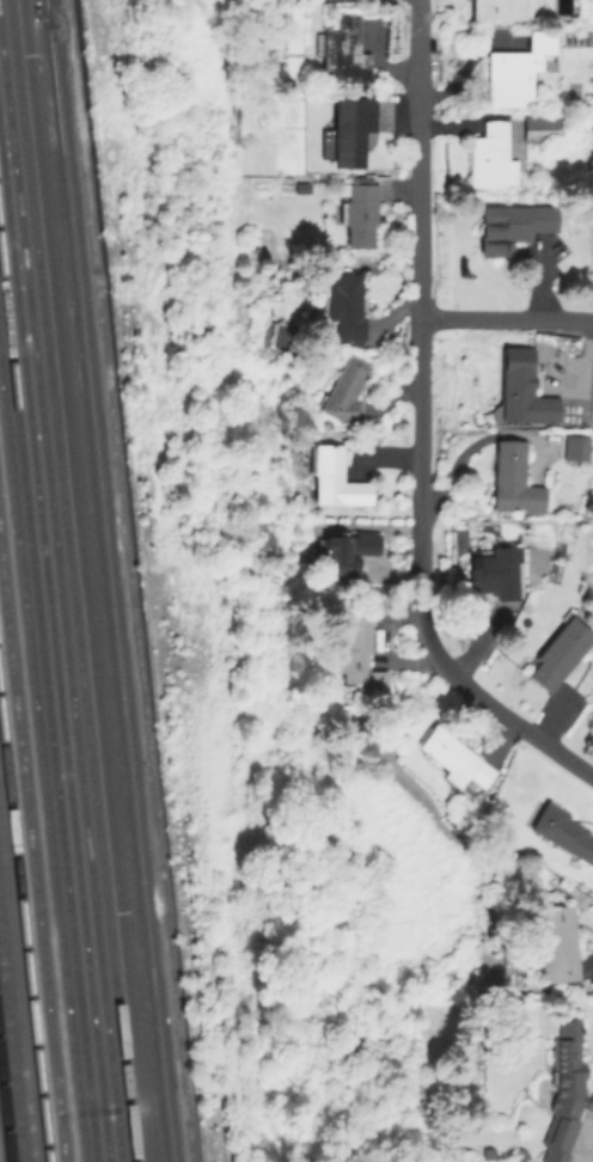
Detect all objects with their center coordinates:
building: (496, 8)
railway: (49, 12)
building: (341, 51)
building: (514, 69)
building: (540, 127)
building: (347, 129)
building: (489, 155)
building: (356, 212)
building: (511, 224)
building: (343, 304)
road: (506, 323)
building: (346, 392)
building: (521, 392)
road: (420, 427)
building: (574, 447)
building: (332, 476)
building: (511, 478)
building: (343, 552)
building: (494, 573)
road: (85, 580)
railway: (110, 580)
railway: (72, 581)
railway: (60, 599)
building: (557, 653)
railway: (54, 654)
building: (356, 654)
railway: (48, 710)
building: (452, 757)
railway: (42, 766)
building: (561, 830)
railway: (32, 855)
railway: (24, 935)
building: (555, 942)
railway: (17, 1002)
railway: (11, 1059)
building: (561, 1089)
railway: (4, 1123)

